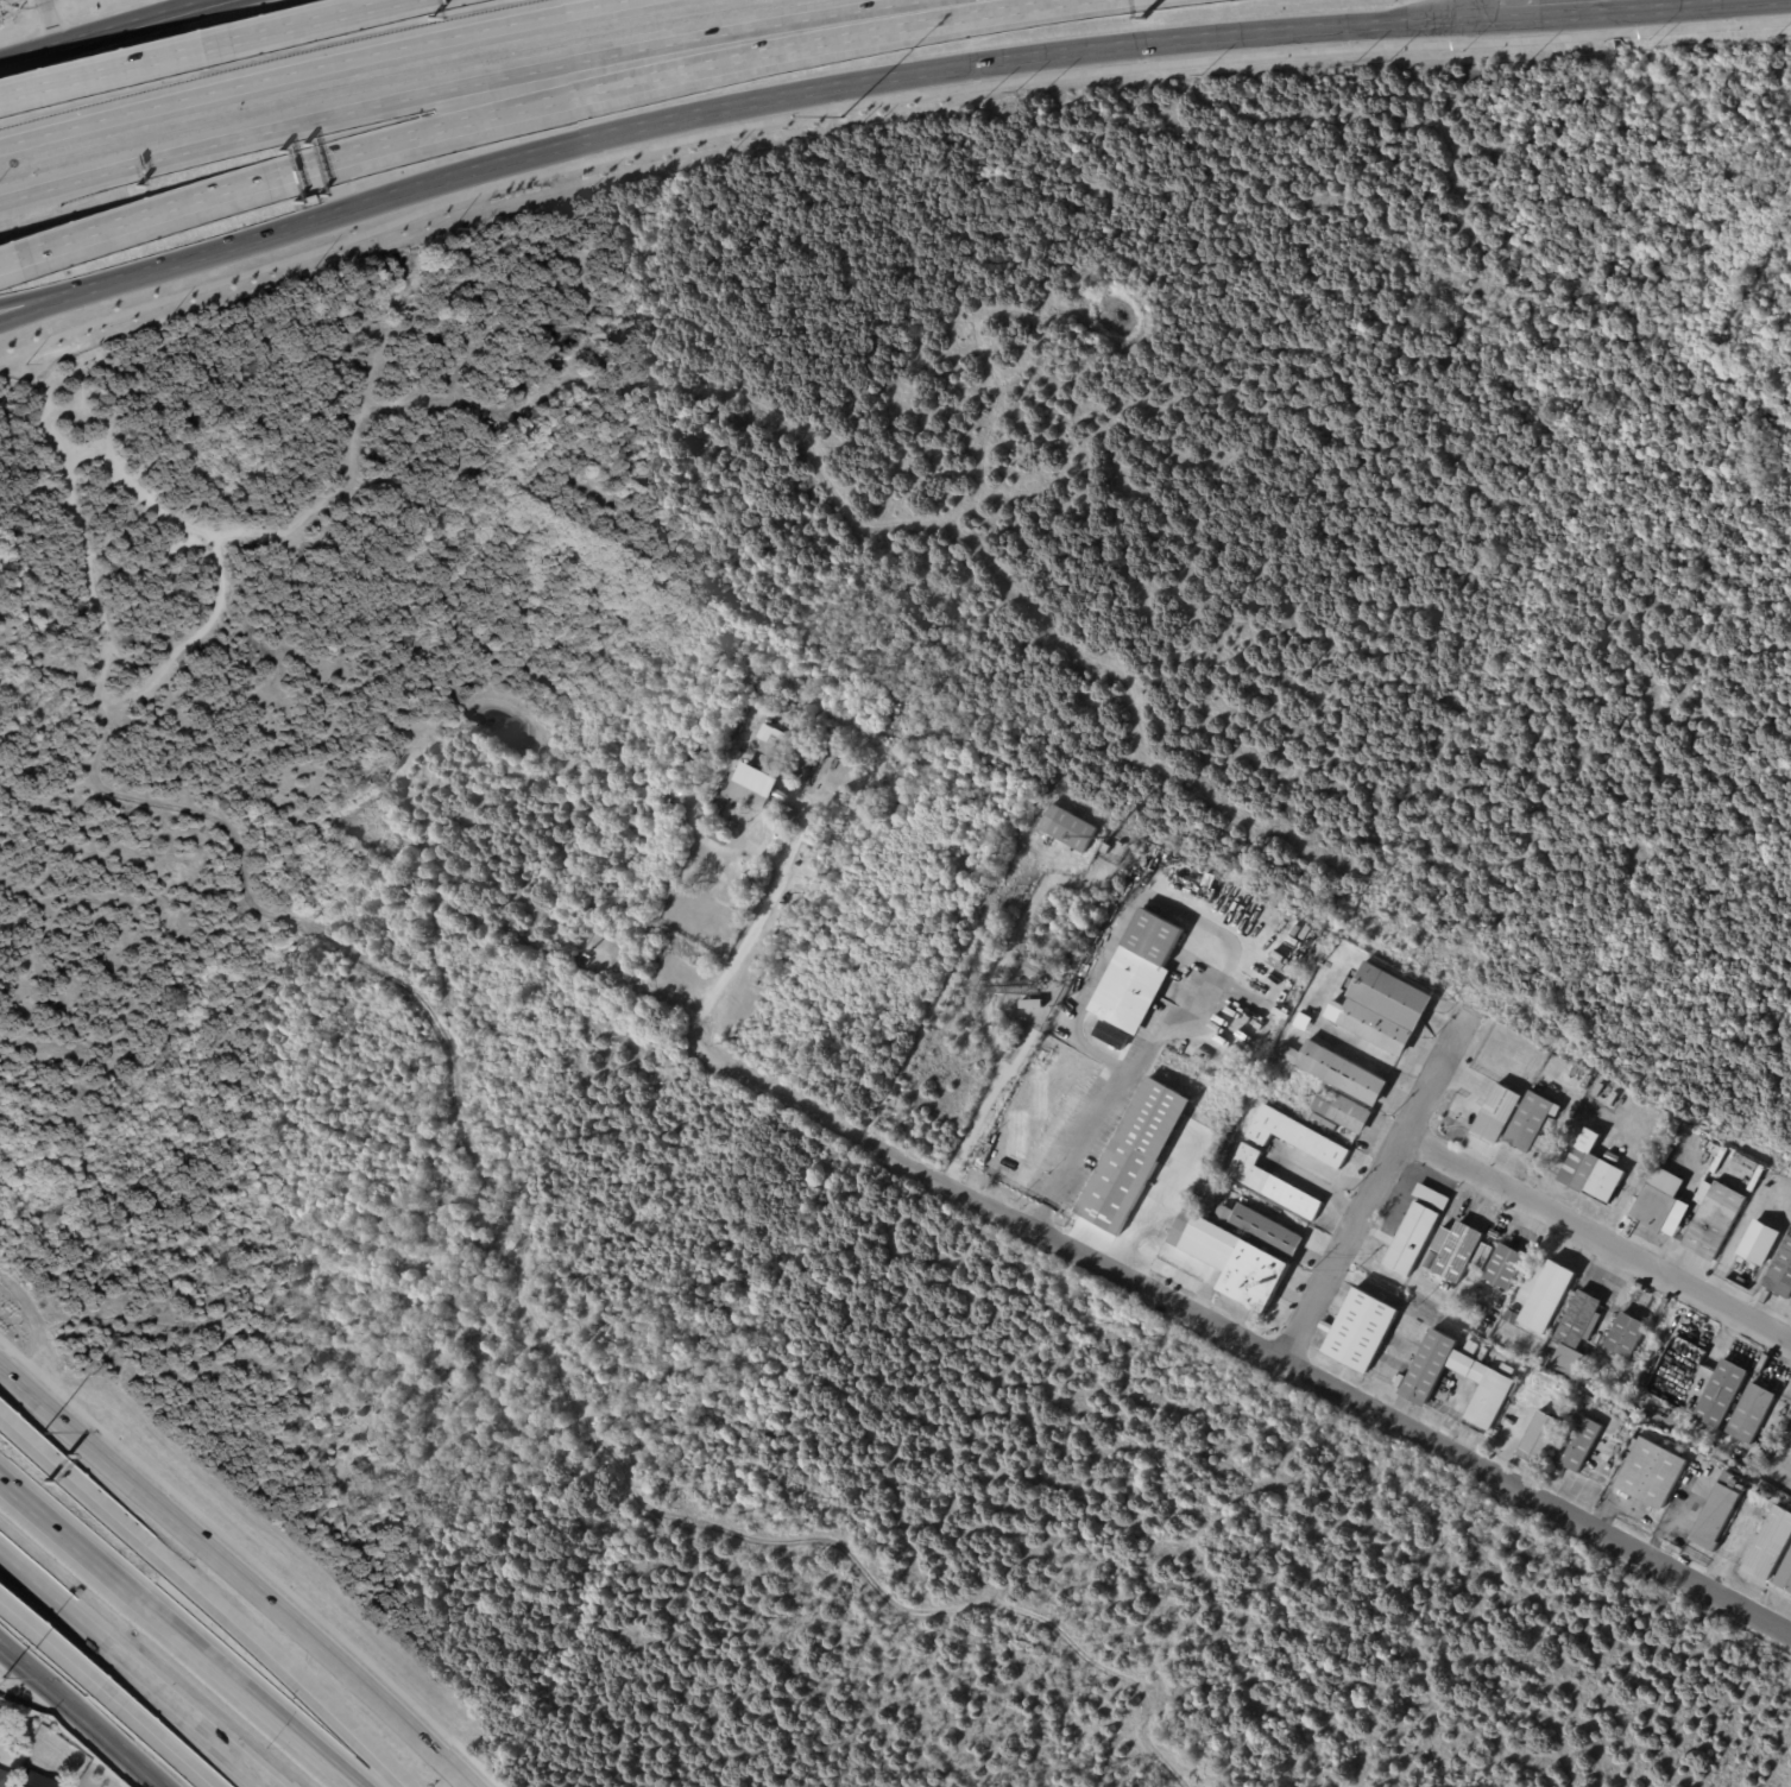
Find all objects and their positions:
road: (1563, 5)
road: (900, 15)
road: (55, 21)
road: (137, 21)
road: (302, 24)
road: (477, 31)
road: (30, 52)
road: (30, 57)
road: (100, 74)
road: (777, 93)
road: (877, 99)
road: (163, 105)
road: (396, 107)
road: (404, 140)
road: (7, 257)
road: (43, 298)
road: (43, 307)
building: (778, 739)
building: (787, 746)
building: (807, 757)
road: (718, 775)
building: (788, 777)
building: (801, 783)
building: (745, 793)
building: (782, 810)
building: (890, 816)
building: (1068, 829)
building: (718, 838)
building: (1105, 848)
building: (1207, 882)
road: (1231, 959)
building: (1139, 973)
building: (1039, 984)
road: (984, 1000)
building: (1030, 1005)
building: (1385, 1010)
building: (1111, 1035)
road: (698, 1040)
road: (1019, 1053)
building: (1337, 1071)
building: (1343, 1111)
building: (1496, 1116)
building: (1530, 1122)
building: (1297, 1137)
building: (1133, 1156)
building: (1613, 1158)
building: (1590, 1172)
building: (1010, 1180)
building: (1270, 1185)
building: (1768, 1186)
road: (1374, 1188)
building: (1431, 1198)
building: (1654, 1210)
road: (1156, 1211)
building: (1223, 1215)
building: (1715, 1223)
building: (1266, 1232)
building: (1412, 1239)
road: (1596, 1239)
building: (472, 1242)
building: (1760, 1244)
building: (1382, 1252)
building: (1455, 1252)
building: (1431, 1261)
building: (1742, 1262)
building: (1231, 1263)
building: (1505, 1268)
building: (1754, 1268)
building: (1781, 1276)
building: (1546, 1296)
building: (439, 1315)
building: (1578, 1322)
building: (1361, 1330)
building: (1625, 1337)
building: (1507, 1370)
building: (1483, 1374)
road: (1325, 1385)
building: (1721, 1395)
building: (1751, 1415)
building: (1540, 1441)
building: (1578, 1444)
road: (1783, 1466)
building: (1651, 1475)
building: (1720, 1511)
road: (69, 1542)
building: (1770, 1547)
road: (253, 1556)
road: (234, 1573)
building: (1785, 1576)
road: (201, 1600)
road: (48, 1644)
road: (10, 1648)
road: (10, 1653)
road: (132, 1669)
road: (246, 1694)
road: (90, 1723)
road: (153, 1736)
building: (5, 1777)
building: (33, 1781)
building: (62, 1785)

